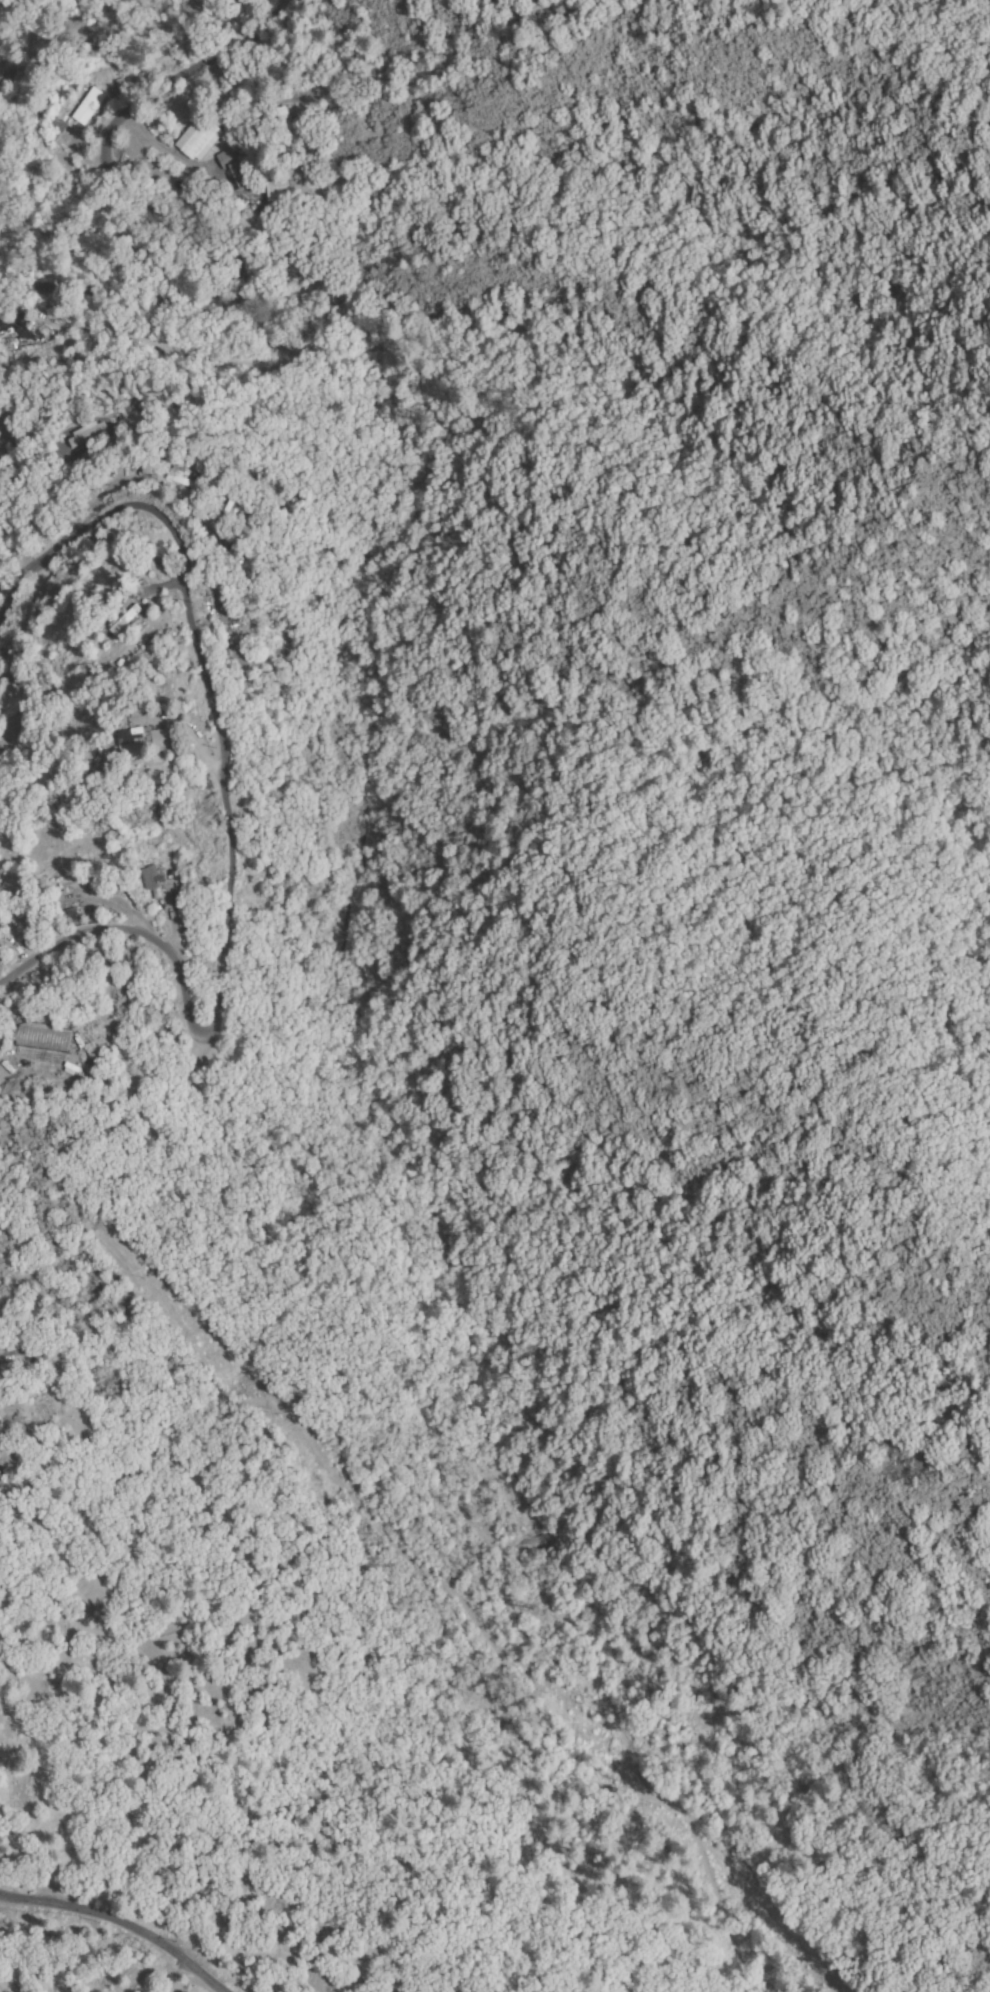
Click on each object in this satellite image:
building: (89, 106)
building: (58, 125)
building: (285, 127)
building: (199, 138)
building: (234, 167)
building: (276, 193)
road: (170, 223)
building: (166, 344)
building: (201, 357)
building: (88, 433)
building: (181, 477)
building: (124, 618)
building: (242, 663)
building: (141, 741)
road: (226, 812)
building: (154, 882)
building: (30, 911)
road: (120, 1920)

